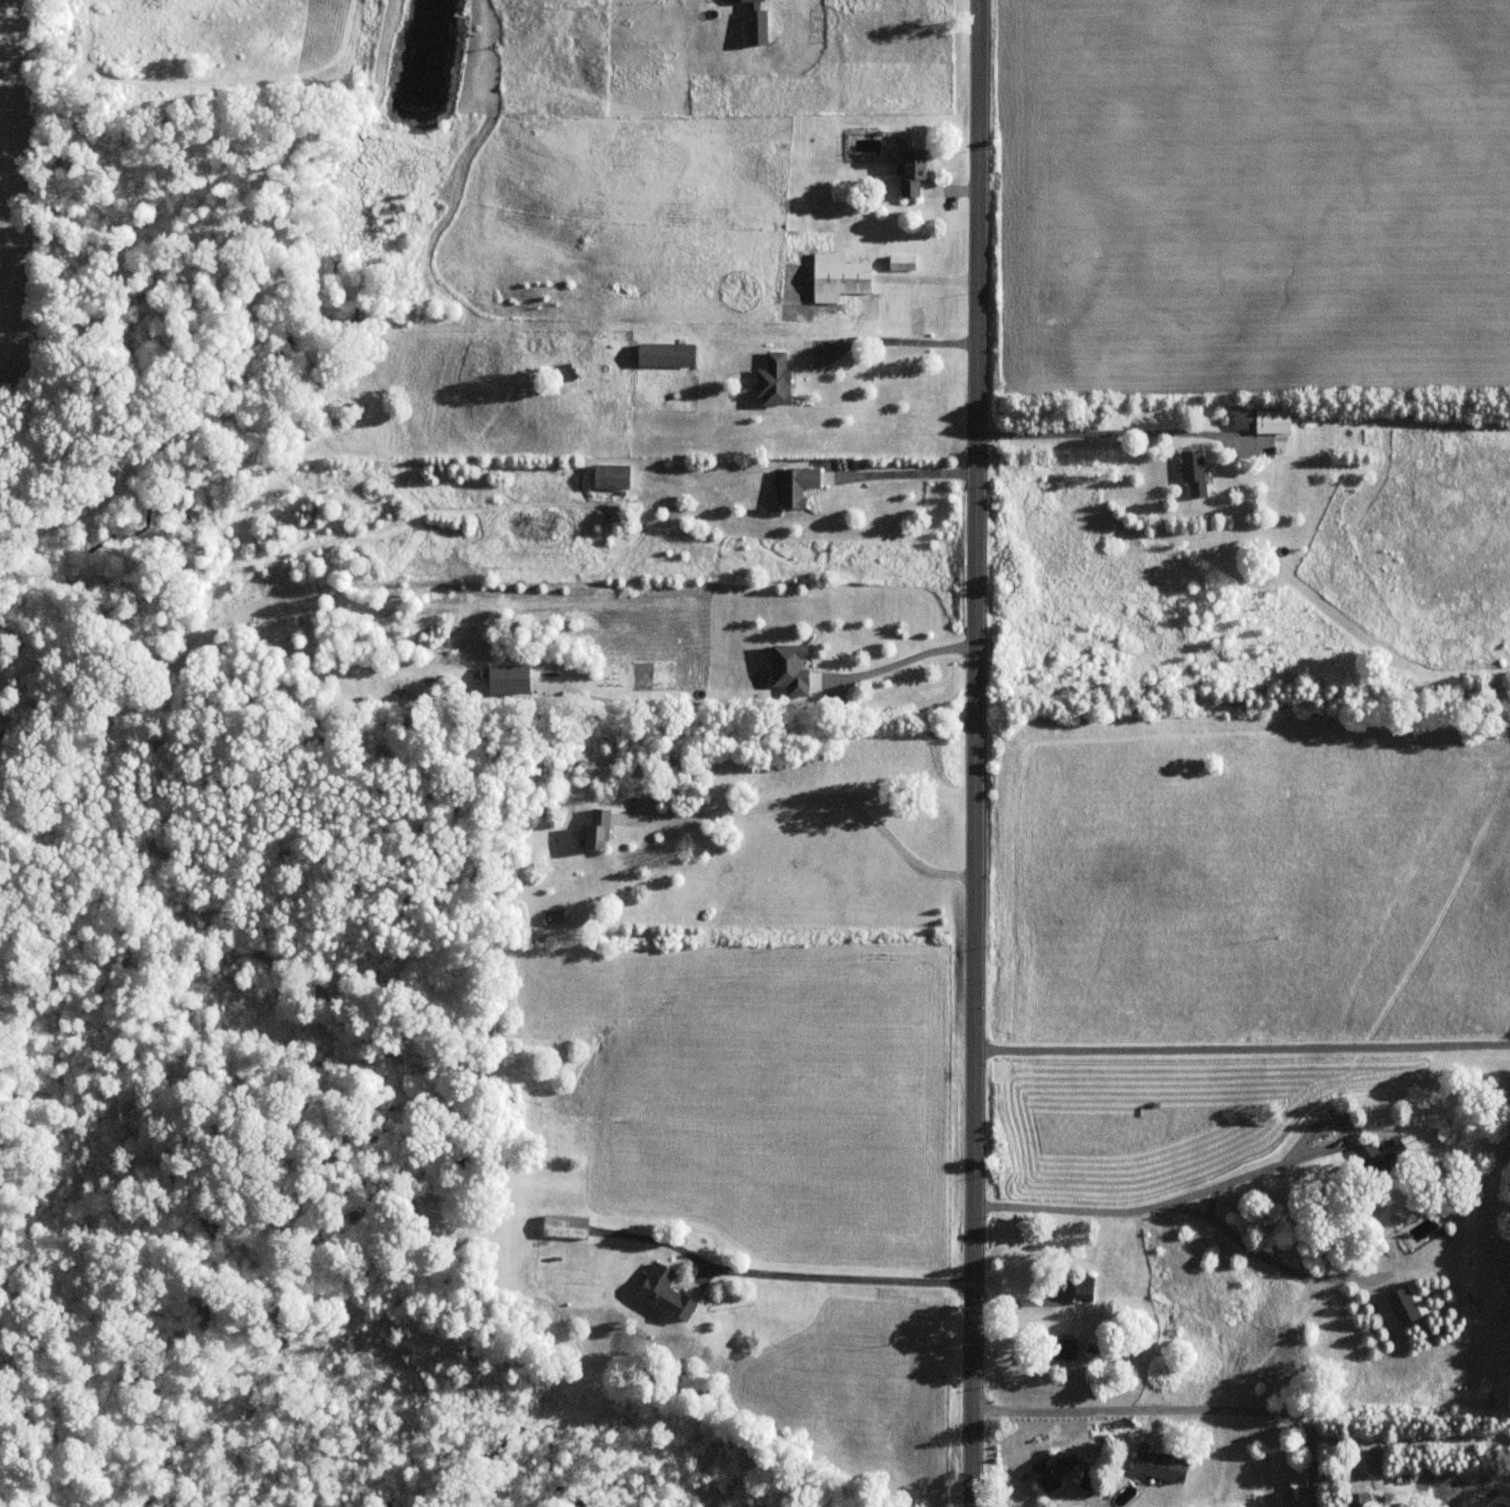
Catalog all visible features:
building: (748, 0)
building: (912, 173)
building: (901, 262)
building: (838, 277)
road: (907, 340)
building: (682, 354)
building: (773, 379)
building: (1262, 420)
road: (1109, 434)
building: (1193, 471)
road: (914, 472)
building: (611, 475)
building: (796, 485)
road: (907, 660)
building: (789, 668)
building: (508, 678)
road: (977, 753)
road: (815, 799)
building: (597, 829)
road: (1242, 1044)
building: (1383, 1158)
road: (1245, 1176)
road: (1071, 1211)
building: (565, 1227)
road: (1263, 1258)
road: (837, 1274)
building: (1084, 1289)
building: (665, 1293)
building: (1401, 1307)
building: (1059, 1350)
road: (1244, 1409)
building: (1160, 1467)
road: (1314, 1469)
building: (1050, 1472)
building: (1357, 1500)

